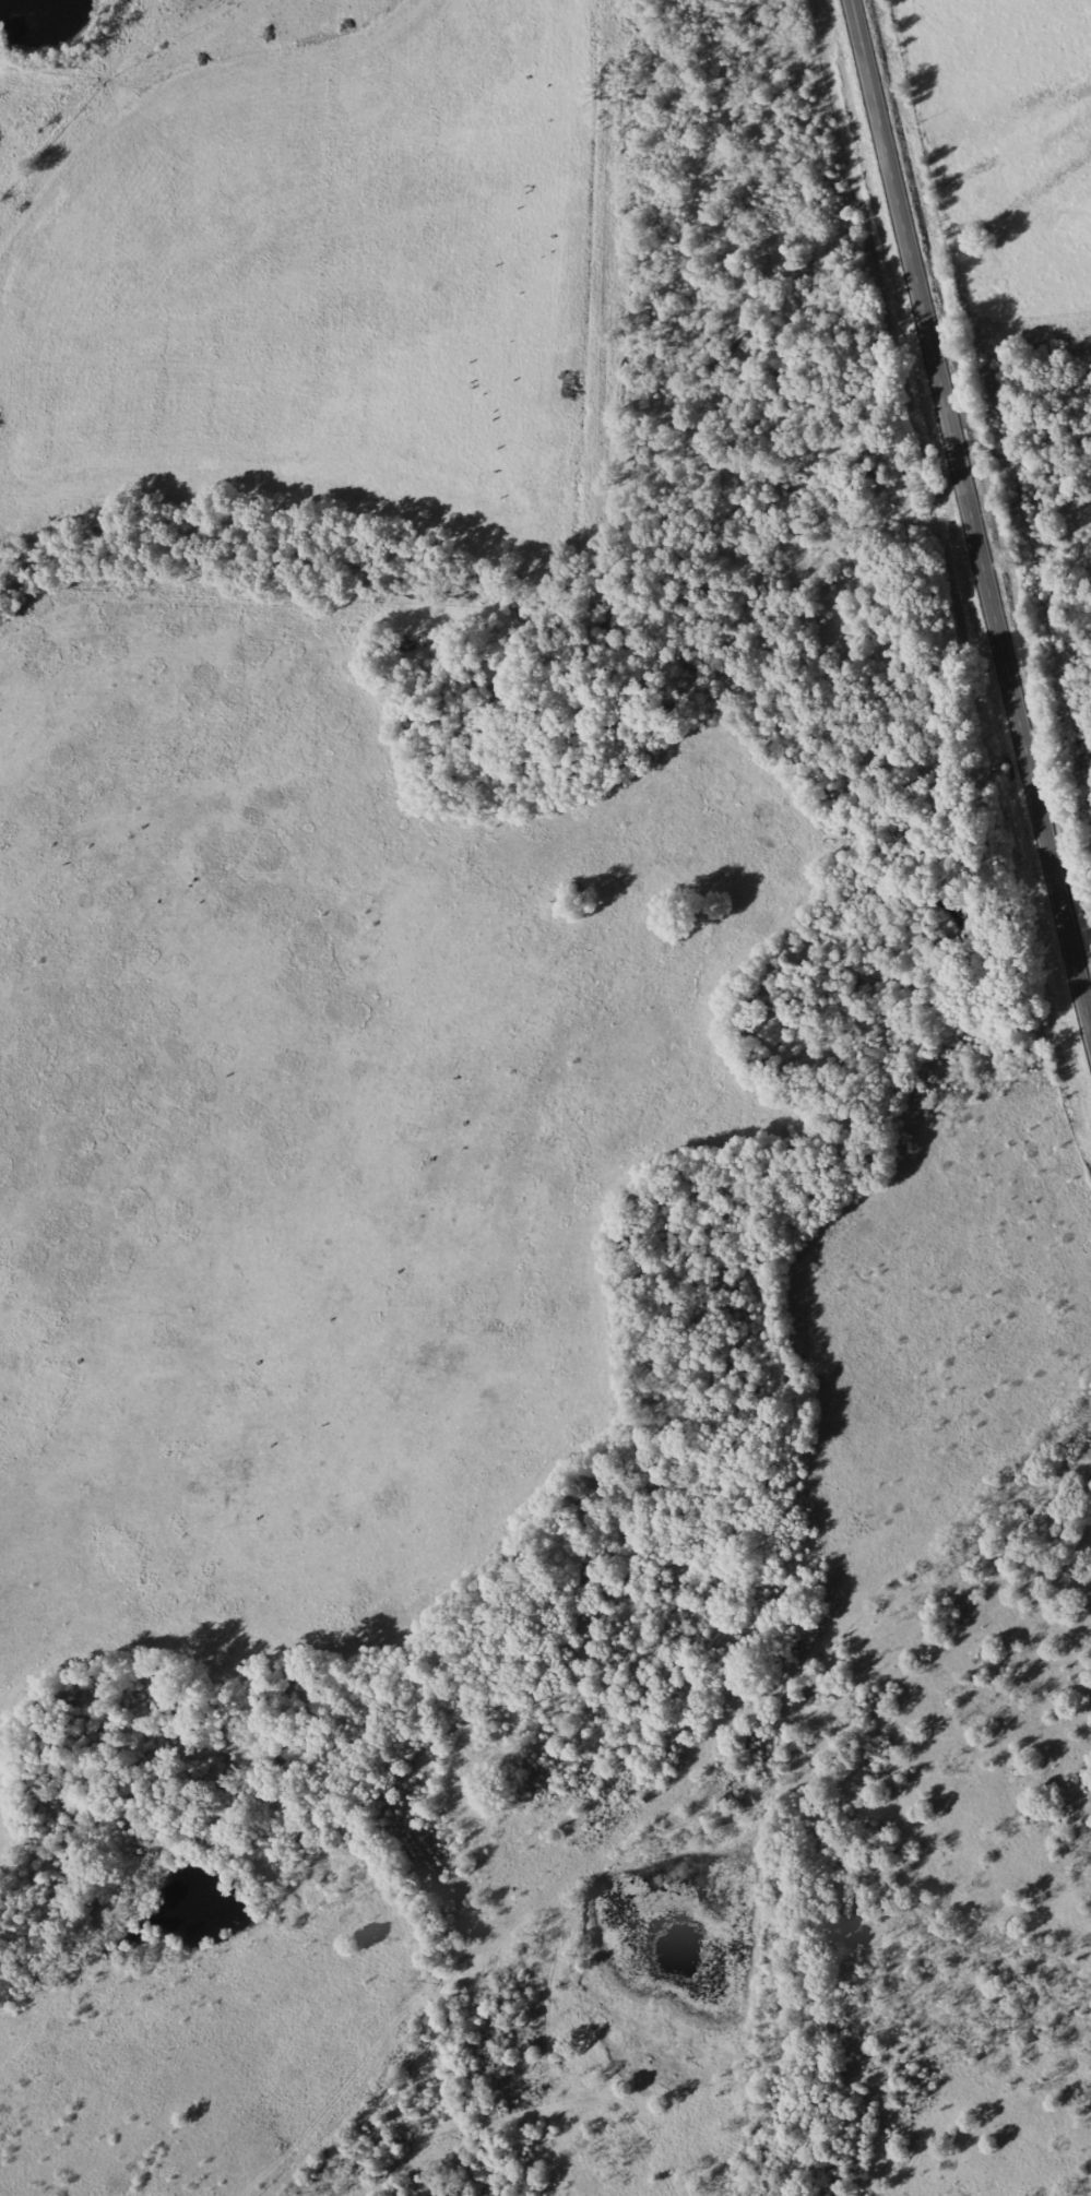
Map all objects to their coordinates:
road: (972, 513)

